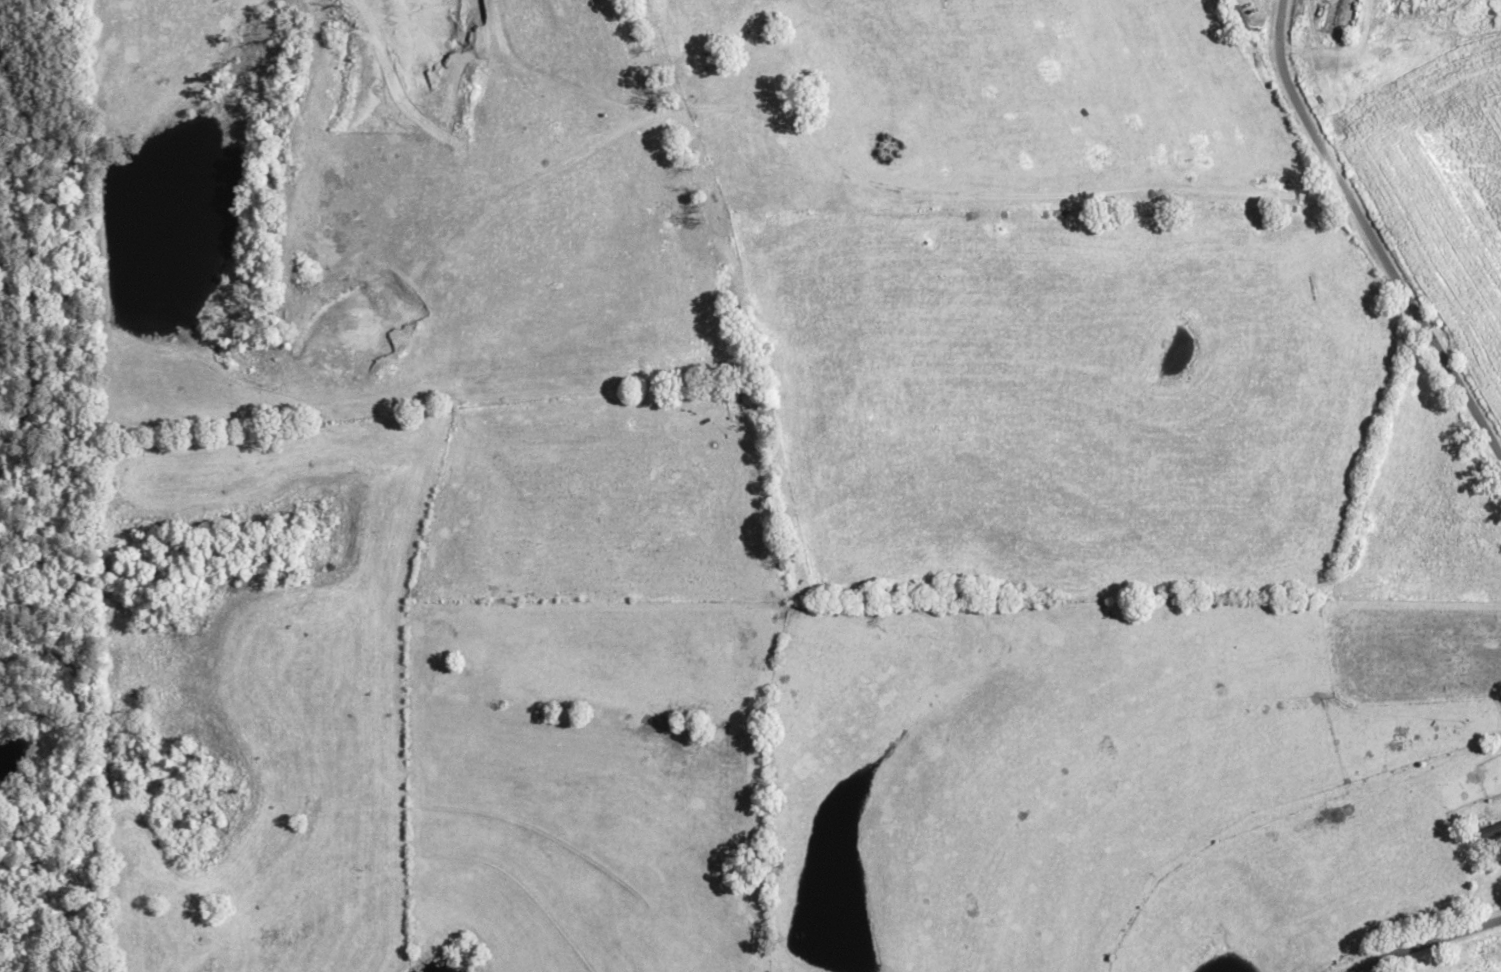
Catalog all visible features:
road: (1368, 238)
building: (1483, 832)
road: (1429, 944)

